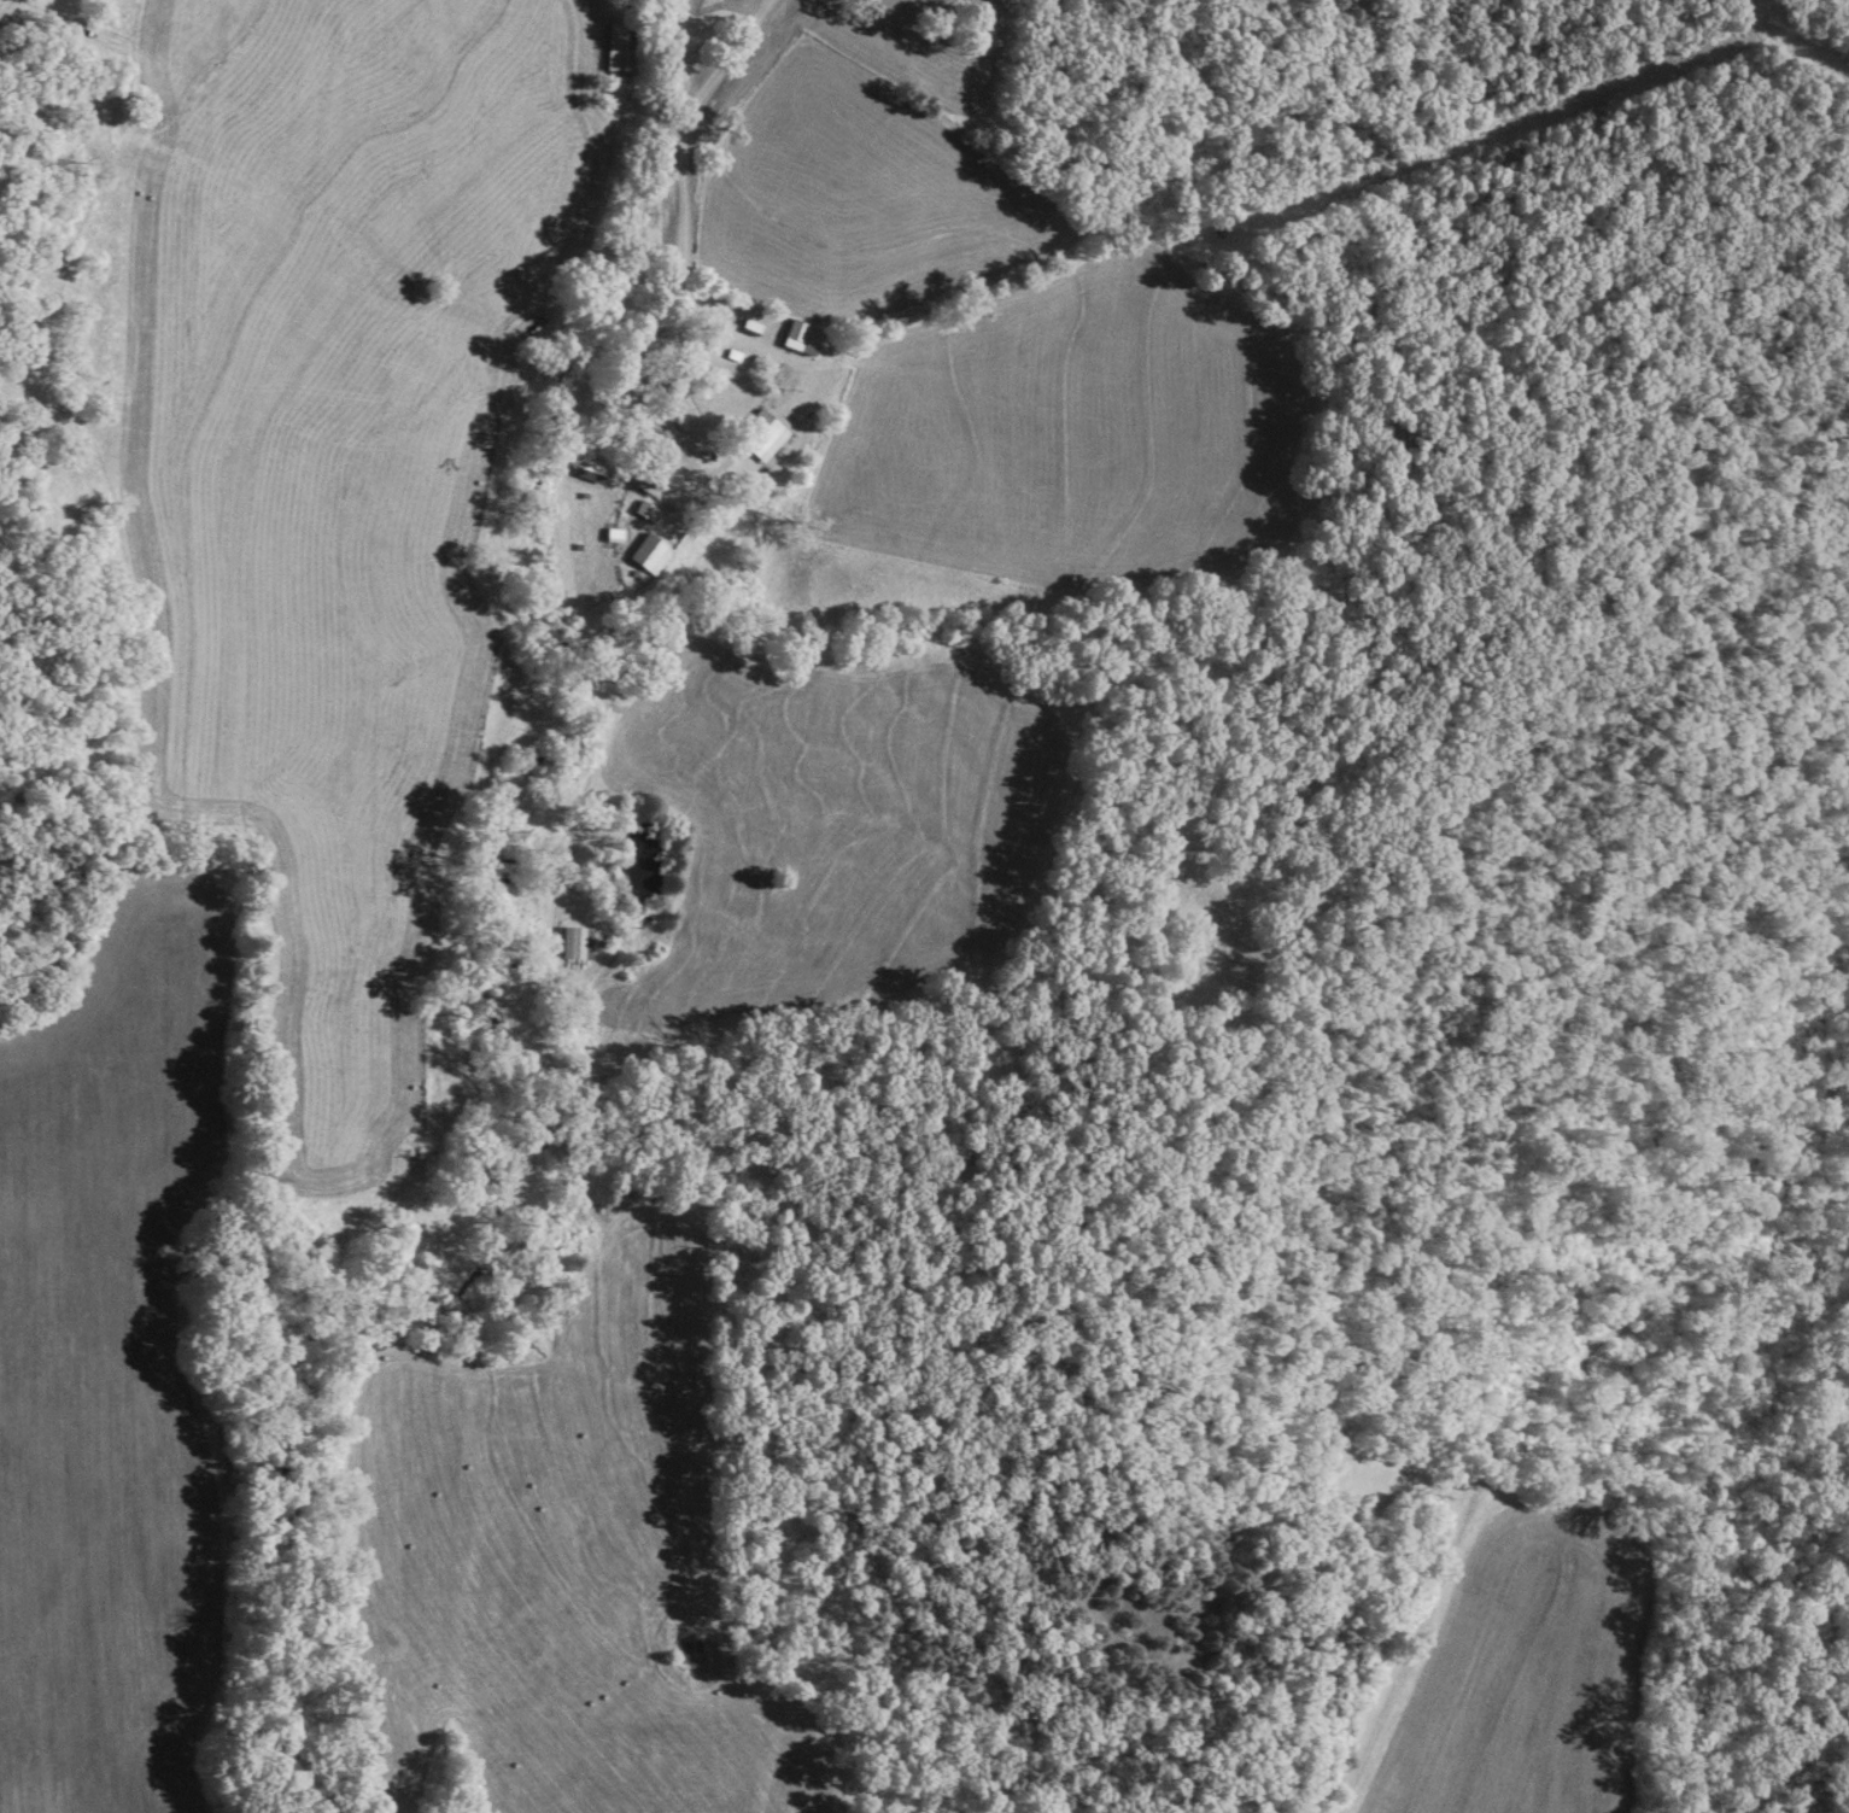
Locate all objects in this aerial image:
building: (665, 2)
building: (615, 51)
building: (748, 329)
building: (797, 339)
building: (650, 344)
building: (621, 410)
building: (756, 439)
road: (1504, 450)
building: (587, 472)
building: (648, 479)
building: (639, 513)
building: (644, 557)
building: (572, 944)
road: (1573, 1128)

